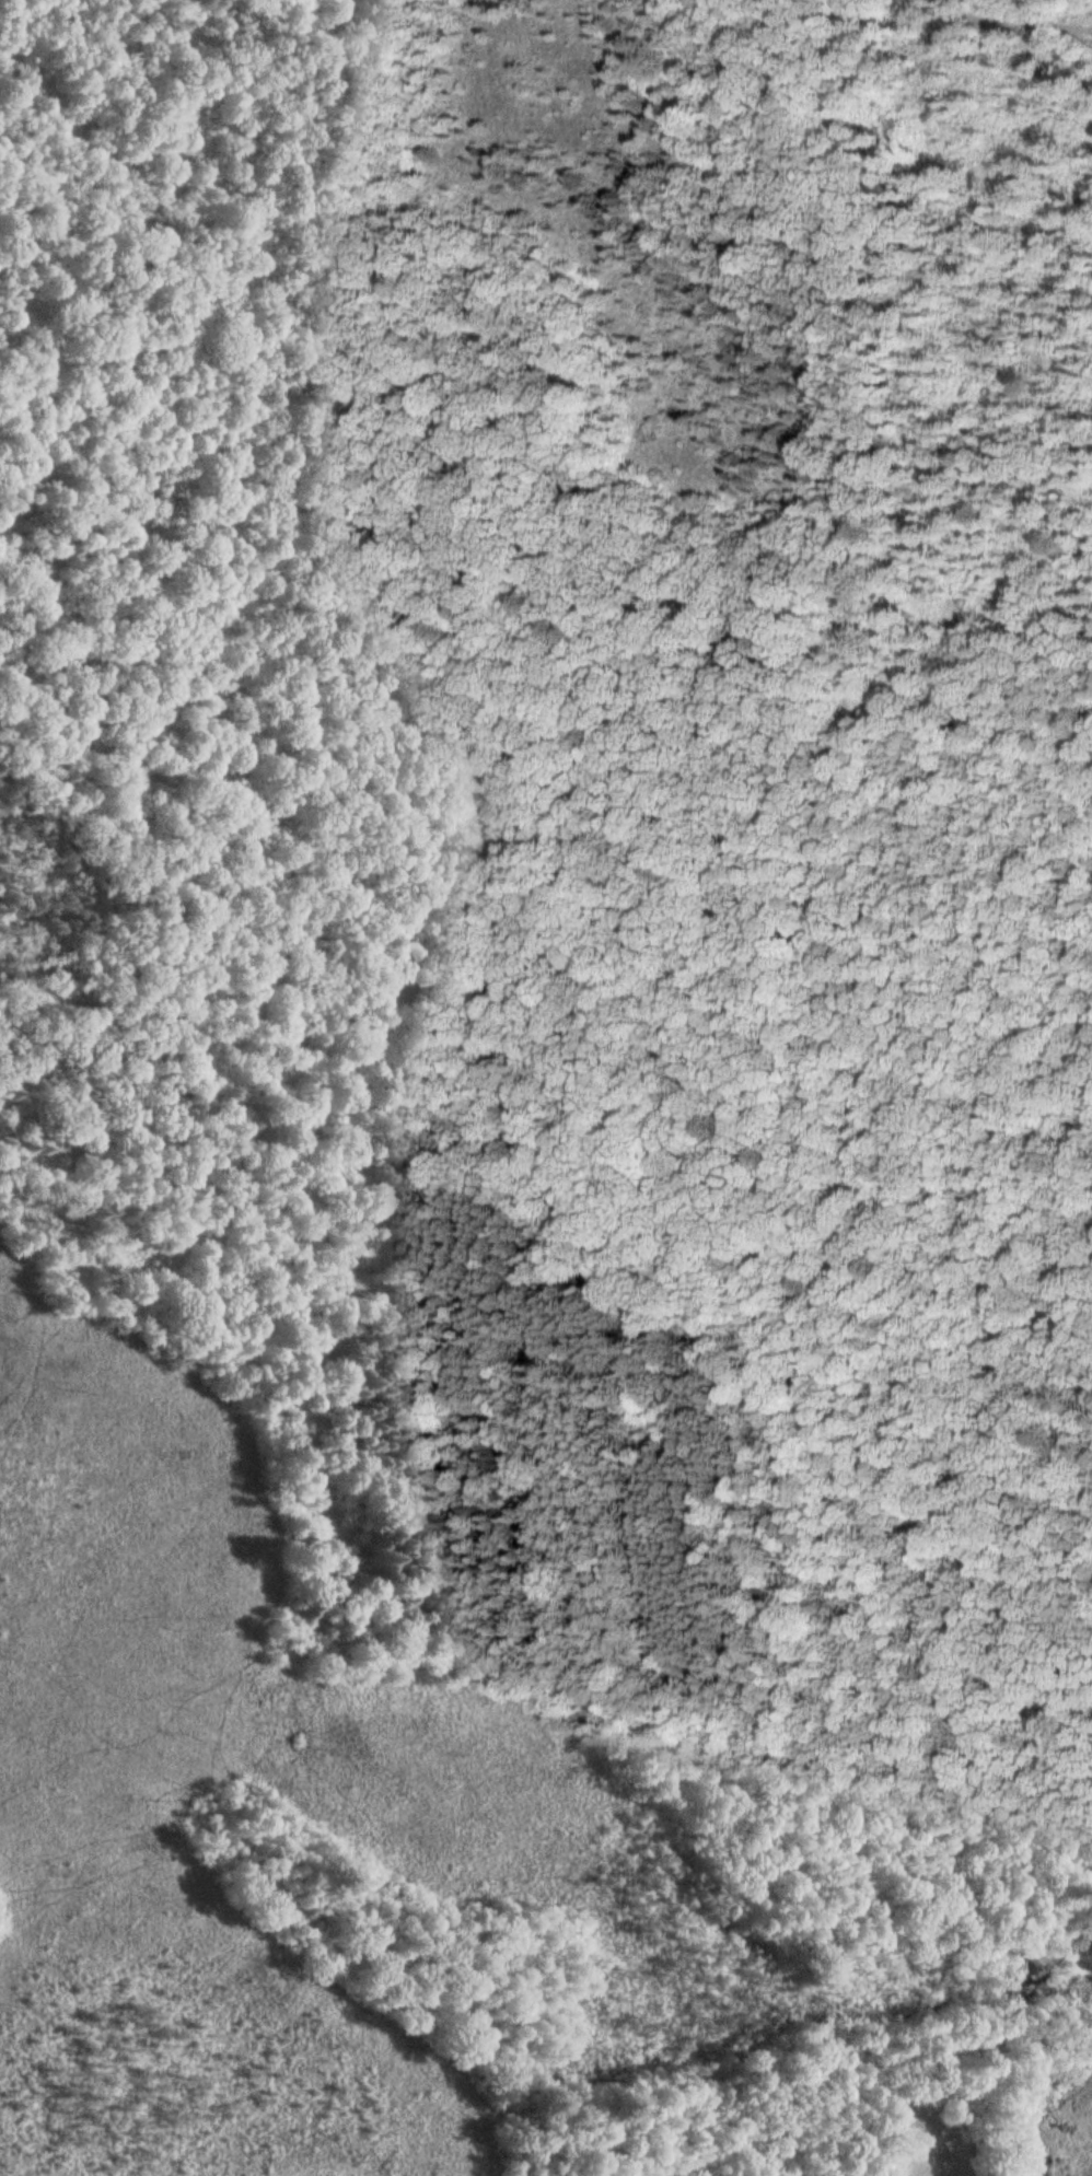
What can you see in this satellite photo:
road: (829, 817)

